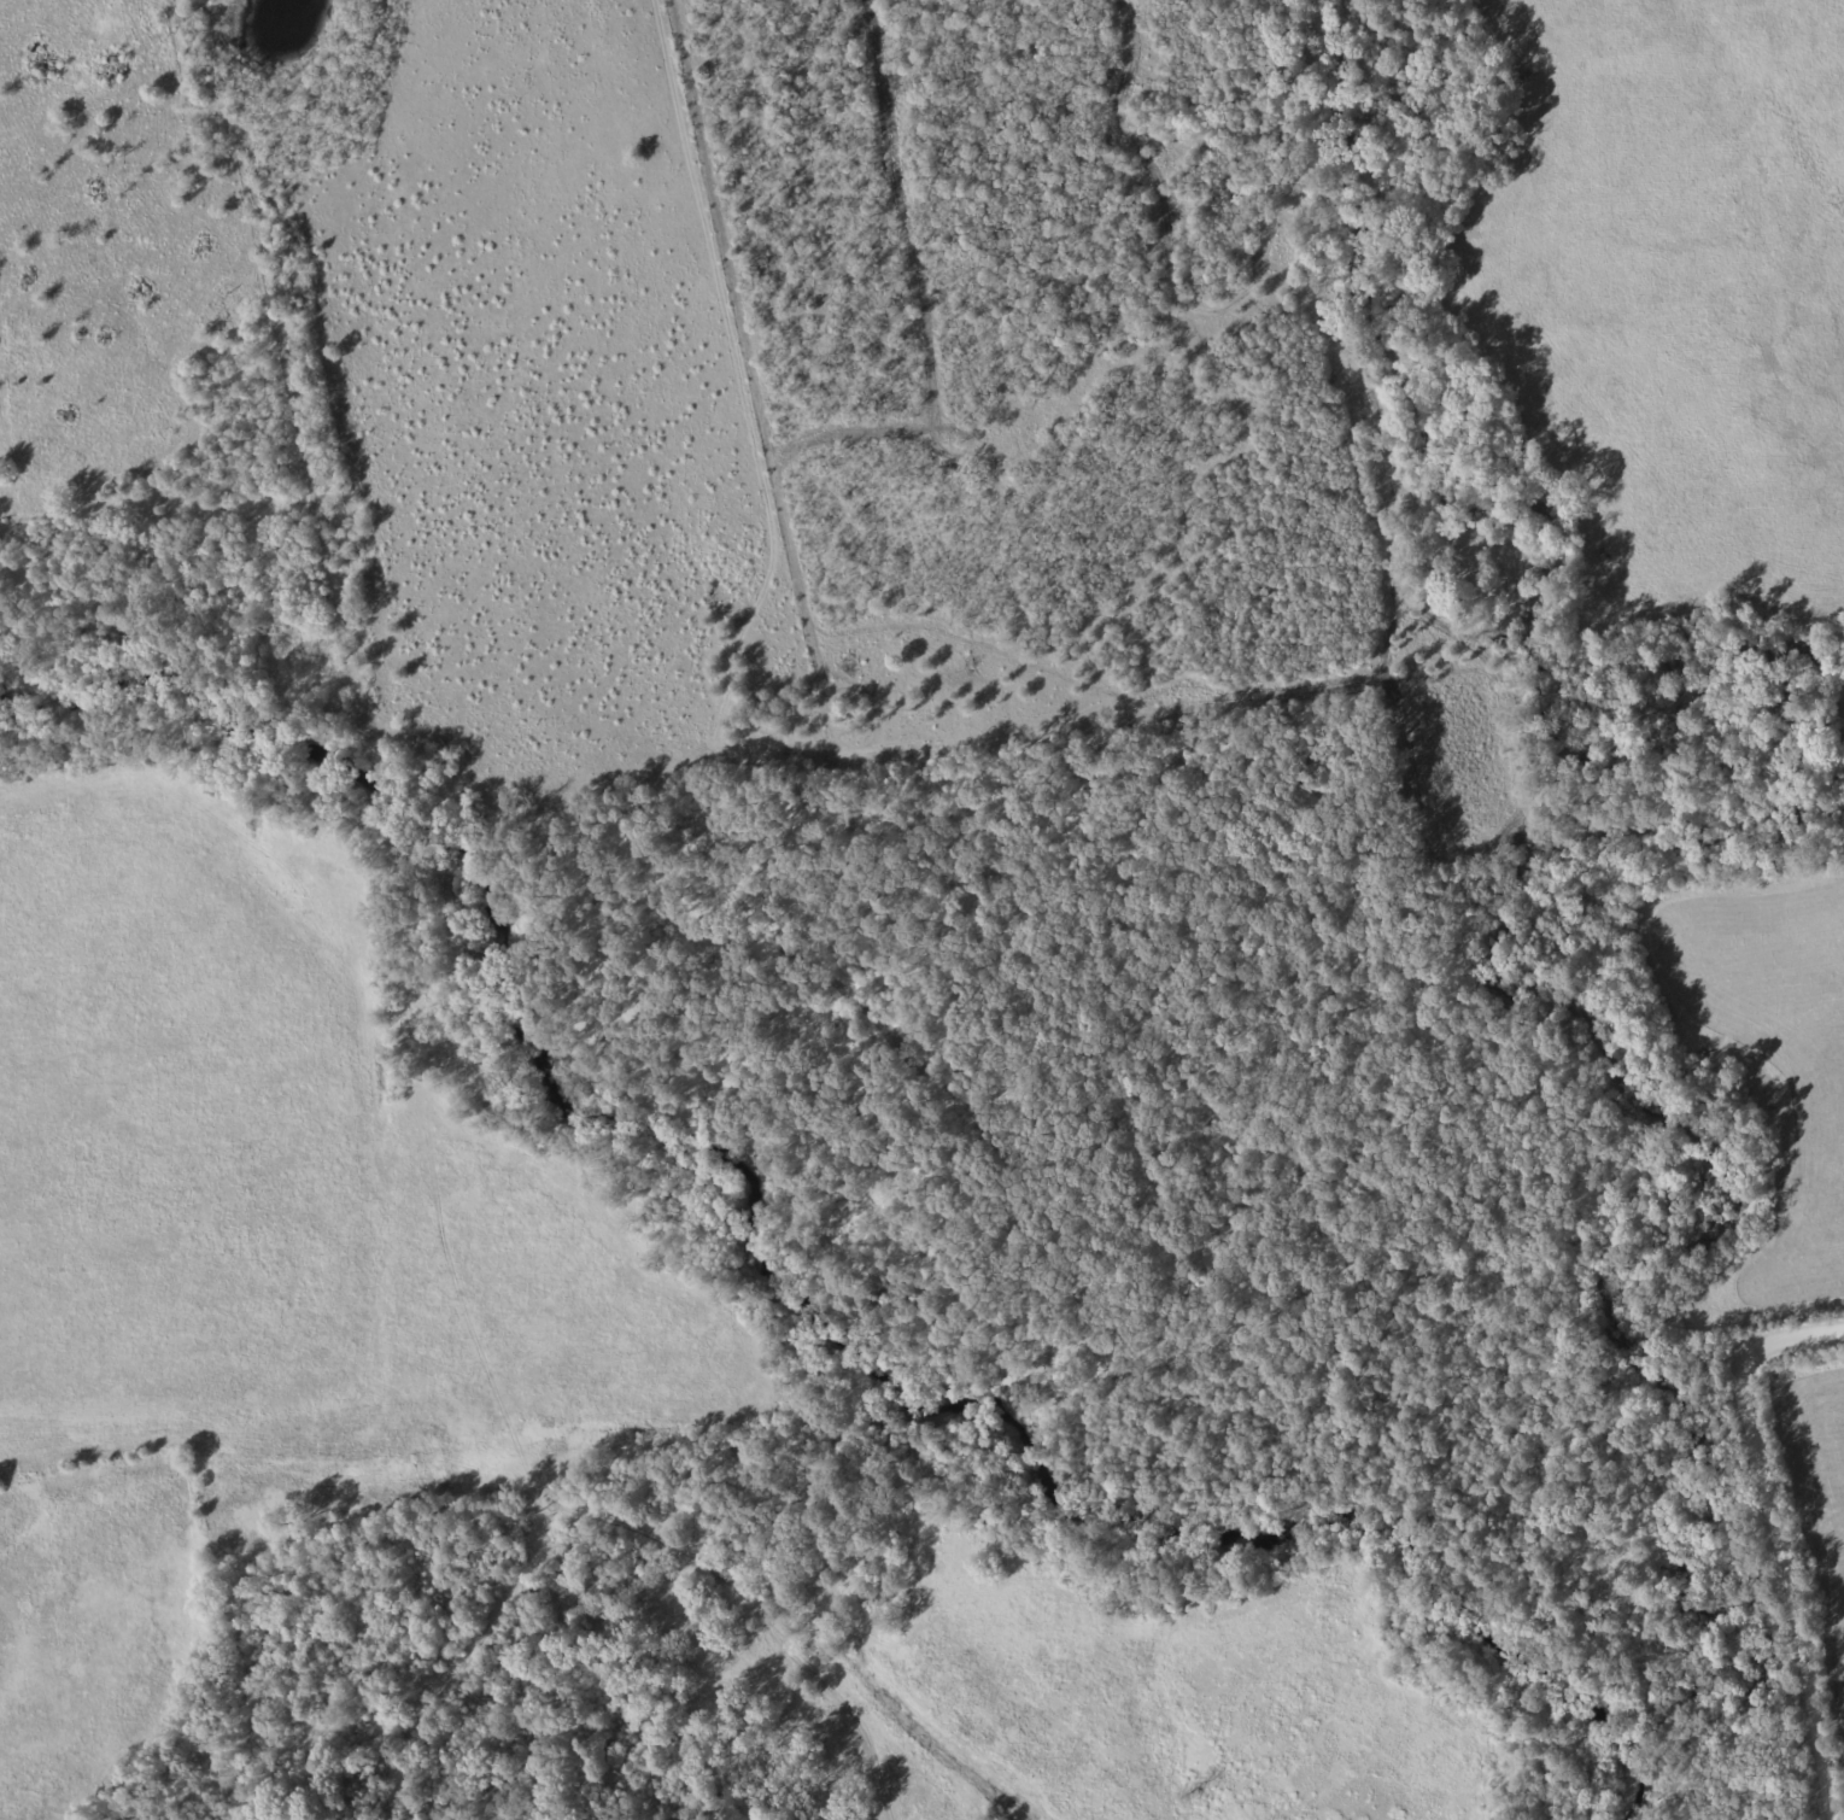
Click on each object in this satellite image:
road: (1774, 1538)

